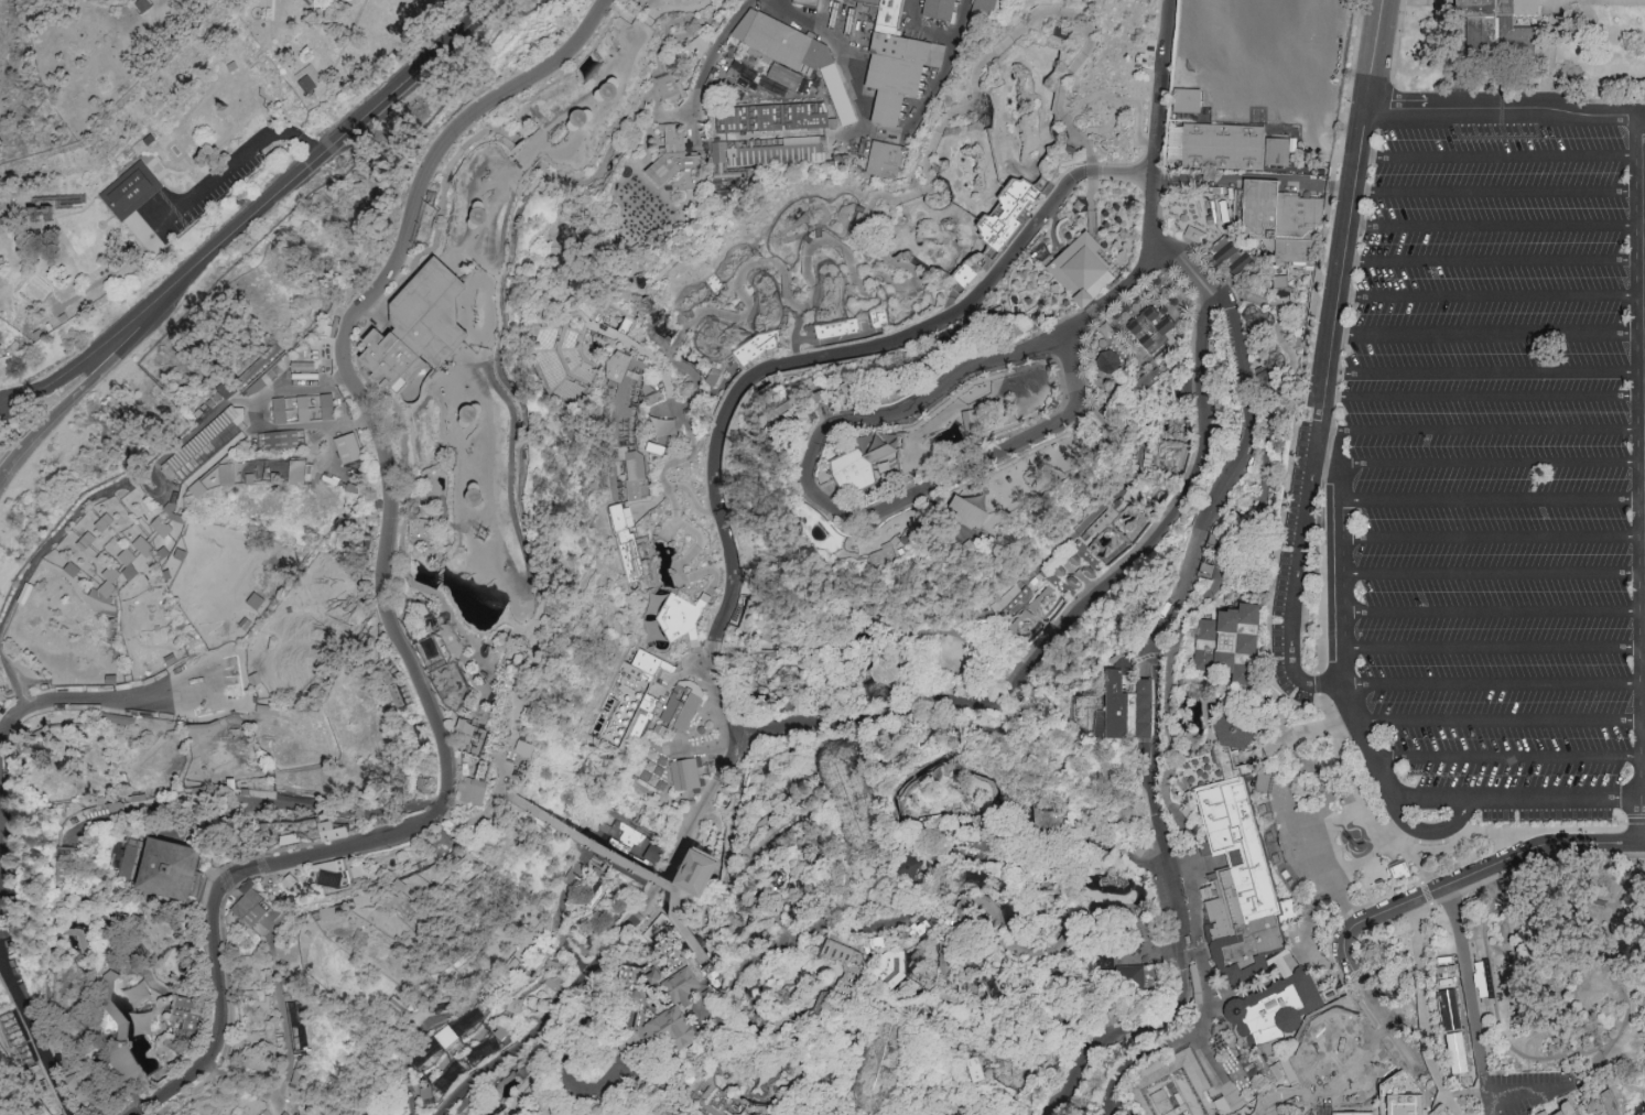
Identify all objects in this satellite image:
building: (810, 1)
road: (1420, 2)
building: (141, 7)
building: (1526, 7)
building: (939, 10)
building: (985, 13)
building: (1491, 36)
road: (1397, 37)
road: (1554, 42)
building: (784, 47)
road: (837, 51)
building: (894, 62)
road: (705, 66)
road: (281, 67)
road: (1164, 71)
building: (786, 75)
road: (228, 82)
building: (309, 82)
building: (671, 89)
building: (1191, 101)
road: (1117, 102)
road: (642, 105)
road: (673, 113)
road: (1507, 113)
building: (772, 117)
road: (1642, 121)
road: (1095, 130)
building: (1224, 147)
building: (522, 150)
road: (639, 151)
road: (529, 153)
building: (759, 158)
road: (1502, 158)
building: (889, 159)
building: (675, 160)
road: (1644, 161)
road: (159, 165)
road: (235, 167)
road: (1498, 193)
road: (1129, 195)
road: (1644, 196)
building: (126, 206)
building: (831, 207)
building: (1011, 212)
road: (257, 215)
building: (1283, 220)
road: (1496, 226)
road: (1644, 229)
road: (803, 240)
road: (1090, 246)
building: (1230, 253)
road: (1150, 259)
road: (1493, 262)
road: (1644, 267)
building: (1084, 269)
road: (1644, 279)
road: (853, 286)
road: (1492, 296)
building: (419, 326)
building: (1154, 334)
road: (1487, 335)
road: (357, 350)
road: (831, 351)
building: (1111, 360)
road: (344, 364)
building: (305, 369)
road: (1485, 374)
building: (1148, 381)
building: (627, 382)
road: (1324, 383)
building: (229, 388)
road: (83, 392)
road: (1483, 398)
building: (328, 405)
building: (305, 408)
road: (1202, 411)
building: (975, 420)
road: (1481, 432)
building: (282, 439)
road: (522, 444)
building: (657, 446)
building: (351, 448)
building: (862, 464)
road: (1489, 464)
building: (297, 469)
parking lot: (1483, 472)
building: (227, 473)
building: (201, 488)
road: (1495, 500)
building: (968, 515)
road: (847, 518)
building: (620, 523)
building: (163, 526)
road: (1248, 526)
road: (396, 528)
building: (419, 529)
road: (1494, 538)
building: (151, 548)
building: (888, 552)
building: (1211, 556)
park: (822, 557)
building: (131, 564)
road: (1494, 574)
road: (1296, 582)
building: (108, 584)
road: (1495, 611)
building: (677, 615)
road: (452, 639)
building: (441, 647)
building: (1229, 648)
road: (1494, 649)
road: (865, 650)
road: (477, 651)
road: (1157, 662)
road: (226, 682)
building: (879, 684)
road: (1188, 685)
road: (1495, 685)
road: (61, 700)
road: (716, 704)
building: (631, 707)
road: (1323, 707)
road: (1203, 708)
building: (680, 711)
building: (1127, 712)
road: (1279, 721)
road: (1503, 721)
road: (479, 723)
building: (1233, 729)
road: (745, 736)
building: (473, 739)
road: (1200, 744)
road: (462, 746)
building: (527, 748)
road: (738, 748)
building: (497, 754)
road: (1509, 758)
building: (686, 773)
road: (1348, 778)
road: (1113, 787)
road: (426, 788)
building: (473, 789)
road: (500, 791)
building: (852, 797)
road: (493, 798)
road: (1270, 799)
road: (1478, 801)
road: (1428, 802)
building: (118, 805)
road: (1226, 805)
road: (1177, 815)
road: (805, 819)
road: (1634, 821)
road: (1368, 822)
road: (1331, 825)
building: (331, 830)
road: (1464, 835)
road: (587, 836)
building: (289, 838)
road: (1520, 838)
road: (1134, 841)
building: (441, 842)
building: (628, 846)
road: (230, 847)
road: (1280, 847)
road: (755, 851)
building: (1138, 852)
road: (1247, 854)
road: (250, 856)
road: (1298, 856)
road: (696, 857)
road: (699, 858)
road: (694, 862)
road: (1057, 862)
road: (695, 863)
road: (703, 863)
building: (694, 864)
road: (1528, 866)
building: (171, 868)
road: (691, 868)
road: (692, 868)
road: (1201, 869)
building: (360, 870)
building: (329, 873)
road: (282, 874)
road: (729, 874)
building: (708, 875)
building: (1241, 880)
building: (289, 881)
road: (289, 881)
road: (696, 885)
building: (247, 886)
road: (269, 886)
railway: (1625, 886)
road: (1436, 889)
road: (336, 890)
road: (1428, 894)
aerialway pylon: (322, 895)
road: (198, 897)
building: (388, 898)
road: (214, 901)
road: (224, 901)
road: (84, 902)
building: (246, 903)
road: (628, 903)
road: (1334, 906)
railway: (1610, 908)
building: (331, 911)
building: (652, 913)
building: (255, 914)
road: (1133, 916)
railway: (1631, 916)
road: (1162, 922)
road: (900, 923)
road: (951, 925)
road: (690, 937)
road: (948, 943)
road: (577, 946)
road: (1322, 956)
road: (1002, 963)
building: (897, 965)
road: (673, 966)
road: (675, 966)
building: (847, 972)
road: (1277, 974)
road: (1465, 979)
road: (1342, 981)
building: (553, 982)
building: (680, 983)
building: (1135, 983)
building: (1195, 984)
road: (45, 990)
building: (75, 992)
road: (1222, 993)
railway: (1485, 993)
building: (708, 994)
aerialway pylon: (735, 994)
building: (515, 1004)
road: (515, 1004)
road: (517, 1008)
building: (1274, 1011)
building: (185, 1015)
road: (281, 1015)
road: (719, 1016)
road: (713, 1018)
road: (529, 1020)
building: (667, 1024)
building: (144, 1025)
road: (1429, 1029)
building: (86, 1030)
road: (420, 1031)
road: (1130, 1032)
road: (34, 1035)
building: (446, 1036)
road: (1413, 1044)
road: (621, 1046)
road: (453, 1047)
building: (473, 1059)
railway: (1523, 1059)
aerialway pylon: (987, 1060)
road: (1139, 1060)
building: (885, 1065)
road: (241, 1081)
building: (76, 1084)
road: (502, 1085)
road: (1525, 1087)
parking lot: (1526, 1090)
building: (1175, 1091)
building: (429, 1094)
road: (1486, 1096)
road: (789, 1097)
road: (692, 1101)
road: (1549, 1101)
building: (1588, 1102)
road: (388, 1104)
building: (93, 1105)
road: (1595, 1105)
road: (411, 1106)
road: (1450, 1106)
building: (1558, 1113)
building: (1543, 1114)
road: (1555, 1114)

